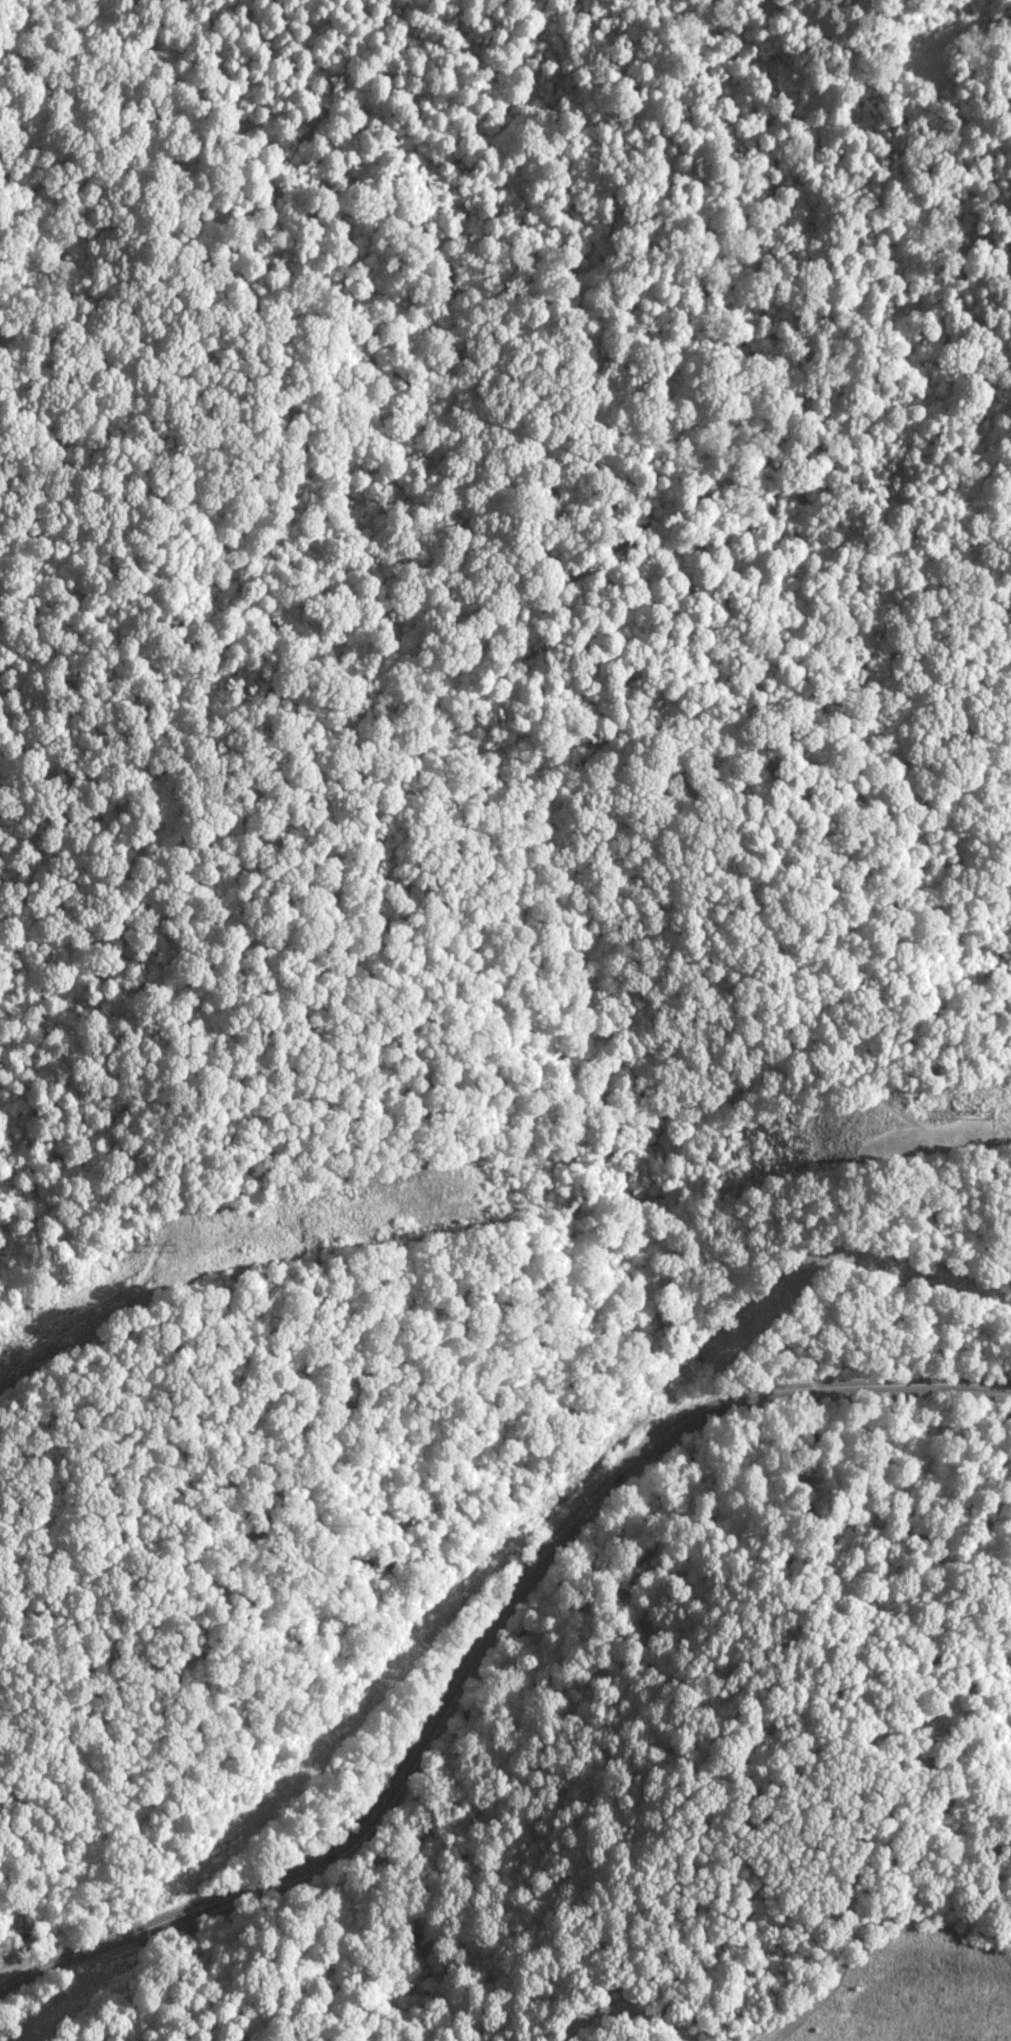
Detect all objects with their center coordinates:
power tower: (170, 1255)
road: (485, 1636)

